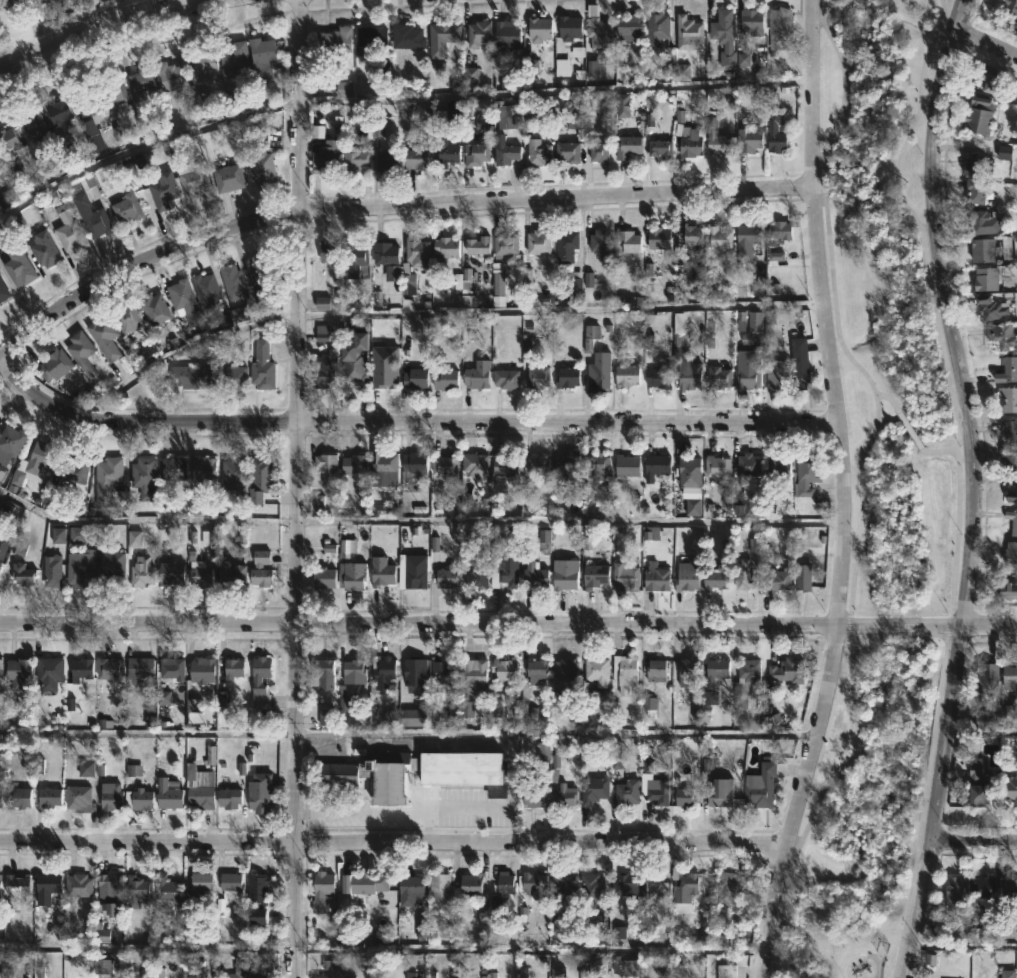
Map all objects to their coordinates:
building: (10, 2)
road: (814, 6)
building: (1011, 8)
road: (959, 15)
building: (1016, 21)
building: (751, 22)
road: (93, 27)
building: (627, 27)
building: (568, 28)
building: (595, 28)
building: (656, 28)
building: (536, 29)
building: (779, 29)
building: (443, 33)
building: (477, 34)
building: (506, 34)
building: (687, 34)
building: (370, 36)
building: (405, 37)
building: (723, 37)
building: (336, 39)
road: (985, 43)
building: (260, 59)
building: (233, 60)
building: (201, 63)
building: (596, 70)
building: (170, 78)
building: (989, 78)
building: (140, 80)
building: (346, 91)
building: (112, 93)
building: (85, 105)
building: (56, 114)
building: (447, 114)
building: (977, 117)
building: (33, 126)
building: (774, 132)
building: (747, 141)
building: (718, 145)
building: (626, 147)
building: (689, 147)
building: (659, 149)
building: (442, 150)
building: (18, 152)
building: (598, 152)
building: (566, 153)
building: (474, 155)
building: (504, 155)
building: (537, 155)
building: (259, 160)
building: (414, 160)
building: (385, 161)
building: (355, 163)
building: (1, 164)
building: (326, 164)
building: (974, 165)
building: (225, 179)
building: (190, 180)
building: (161, 191)
building: (975, 191)
road: (387, 207)
building: (124, 209)
building: (89, 217)
building: (982, 223)
building: (778, 229)
building: (67, 231)
building: (747, 232)
building: (690, 233)
building: (718, 236)
building: (657, 238)
building: (627, 239)
building: (537, 241)
building: (598, 242)
building: (476, 244)
building: (504, 244)
building: (444, 246)
building: (567, 246)
building: (42, 250)
building: (981, 250)
building: (326, 251)
building: (415, 251)
building: (383, 252)
building: (354, 253)
building: (15, 264)
building: (264, 275)
building: (985, 280)
building: (231, 283)
building: (203, 288)
building: (3, 294)
building: (182, 301)
road: (558, 308)
building: (989, 308)
building: (152, 309)
building: (126, 317)
building: (748, 324)
building: (1002, 336)
building: (102, 338)
building: (383, 341)
building: (80, 354)
building: (798, 362)
building: (352, 363)
building: (53, 364)
building: (260, 367)
building: (324, 371)
building: (598, 371)
building: (1007, 371)
building: (688, 373)
building: (777, 373)
building: (536, 374)
building: (626, 375)
building: (746, 375)
building: (717, 376)
building: (189, 377)
building: (233, 377)
building: (475, 377)
building: (565, 377)
building: (656, 377)
building: (414, 378)
building: (443, 378)
building: (504, 378)
road: (887, 398)
building: (1008, 398)
road: (406, 423)
building: (1008, 428)
road: (907, 429)
building: (12, 444)
road: (943, 452)
building: (1009, 461)
building: (324, 462)
building: (413, 462)
building: (35, 463)
building: (474, 463)
building: (352, 464)
building: (503, 464)
building: (535, 464)
building: (747, 464)
building: (443, 465)
building: (566, 465)
building: (595, 465)
building: (655, 465)
building: (716, 465)
building: (625, 467)
building: (170, 468)
building: (382, 468)
building: (780, 469)
building: (73, 470)
building: (232, 472)
building: (688, 472)
building: (202, 473)
building: (261, 473)
building: (806, 474)
building: (142, 476)
road: (956, 482)
building: (107, 483)
road: (296, 488)
road: (858, 489)
road: (839, 492)
building: (1011, 495)
park: (876, 496)
road: (970, 503)
road: (568, 521)
building: (1012, 521)
building: (137, 540)
building: (4, 547)
building: (1010, 551)
building: (471, 565)
building: (109, 568)
building: (258, 569)
building: (79, 570)
building: (503, 570)
building: (50, 571)
building: (379, 571)
building: (140, 572)
building: (20, 573)
building: (168, 573)
building: (198, 574)
building: (533, 574)
building: (563, 574)
building: (743, 574)
building: (229, 575)
building: (414, 575)
building: (444, 576)
building: (593, 576)
building: (685, 576)
building: (717, 576)
building: (322, 577)
building: (350, 577)
building: (624, 577)
building: (655, 577)
building: (801, 577)
building: (777, 579)
building: (1007, 589)
road: (508, 623)
building: (108, 668)
building: (138, 668)
building: (231, 668)
building: (79, 669)
building: (352, 669)
building: (412, 669)
building: (503, 669)
building: (564, 669)
building: (170, 670)
building: (200, 670)
building: (441, 670)
building: (596, 670)
building: (786, 670)
building: (654, 671)
building: (685, 671)
building: (748, 671)
building: (624, 672)
building: (714, 672)
building: (49, 673)
building: (322, 673)
building: (380, 674)
building: (534, 674)
building: (2, 676)
building: (23, 676)
building: (472, 676)
building: (1008, 677)
building: (985, 678)
building: (259, 682)
building: (344, 702)
building: (1010, 711)
building: (416, 719)
road: (407, 734)
building: (708, 759)
building: (461, 780)
building: (976, 781)
building: (761, 784)
building: (198, 787)
building: (592, 789)
building: (530, 790)
building: (719, 791)
building: (1010, 791)
building: (258, 792)
building: (626, 793)
building: (657, 793)
building: (168, 794)
building: (563, 795)
building: (16, 797)
building: (46, 797)
building: (108, 797)
building: (226, 797)
building: (1, 798)
building: (76, 798)
building: (686, 798)
building: (139, 799)
road: (972, 840)
road: (393, 842)
road: (792, 844)
building: (199, 883)
building: (229, 883)
building: (362, 883)
building: (532, 883)
building: (683, 883)
building: (410, 885)
building: (470, 885)
building: (46, 886)
building: (76, 886)
building: (439, 887)
building: (562, 887)
building: (627, 887)
building: (983, 887)
building: (1, 888)
building: (14, 888)
building: (727, 888)
building: (256, 889)
building: (501, 889)
building: (956, 889)
building: (135, 890)
building: (107, 891)
building: (165, 891)
building: (320, 891)
building: (1008, 892)
building: (592, 896)
building: (262, 921)
road: (526, 946)
building: (623, 967)
building: (107, 969)
building: (1007, 969)
building: (724, 971)
building: (252, 975)
building: (318, 977)

